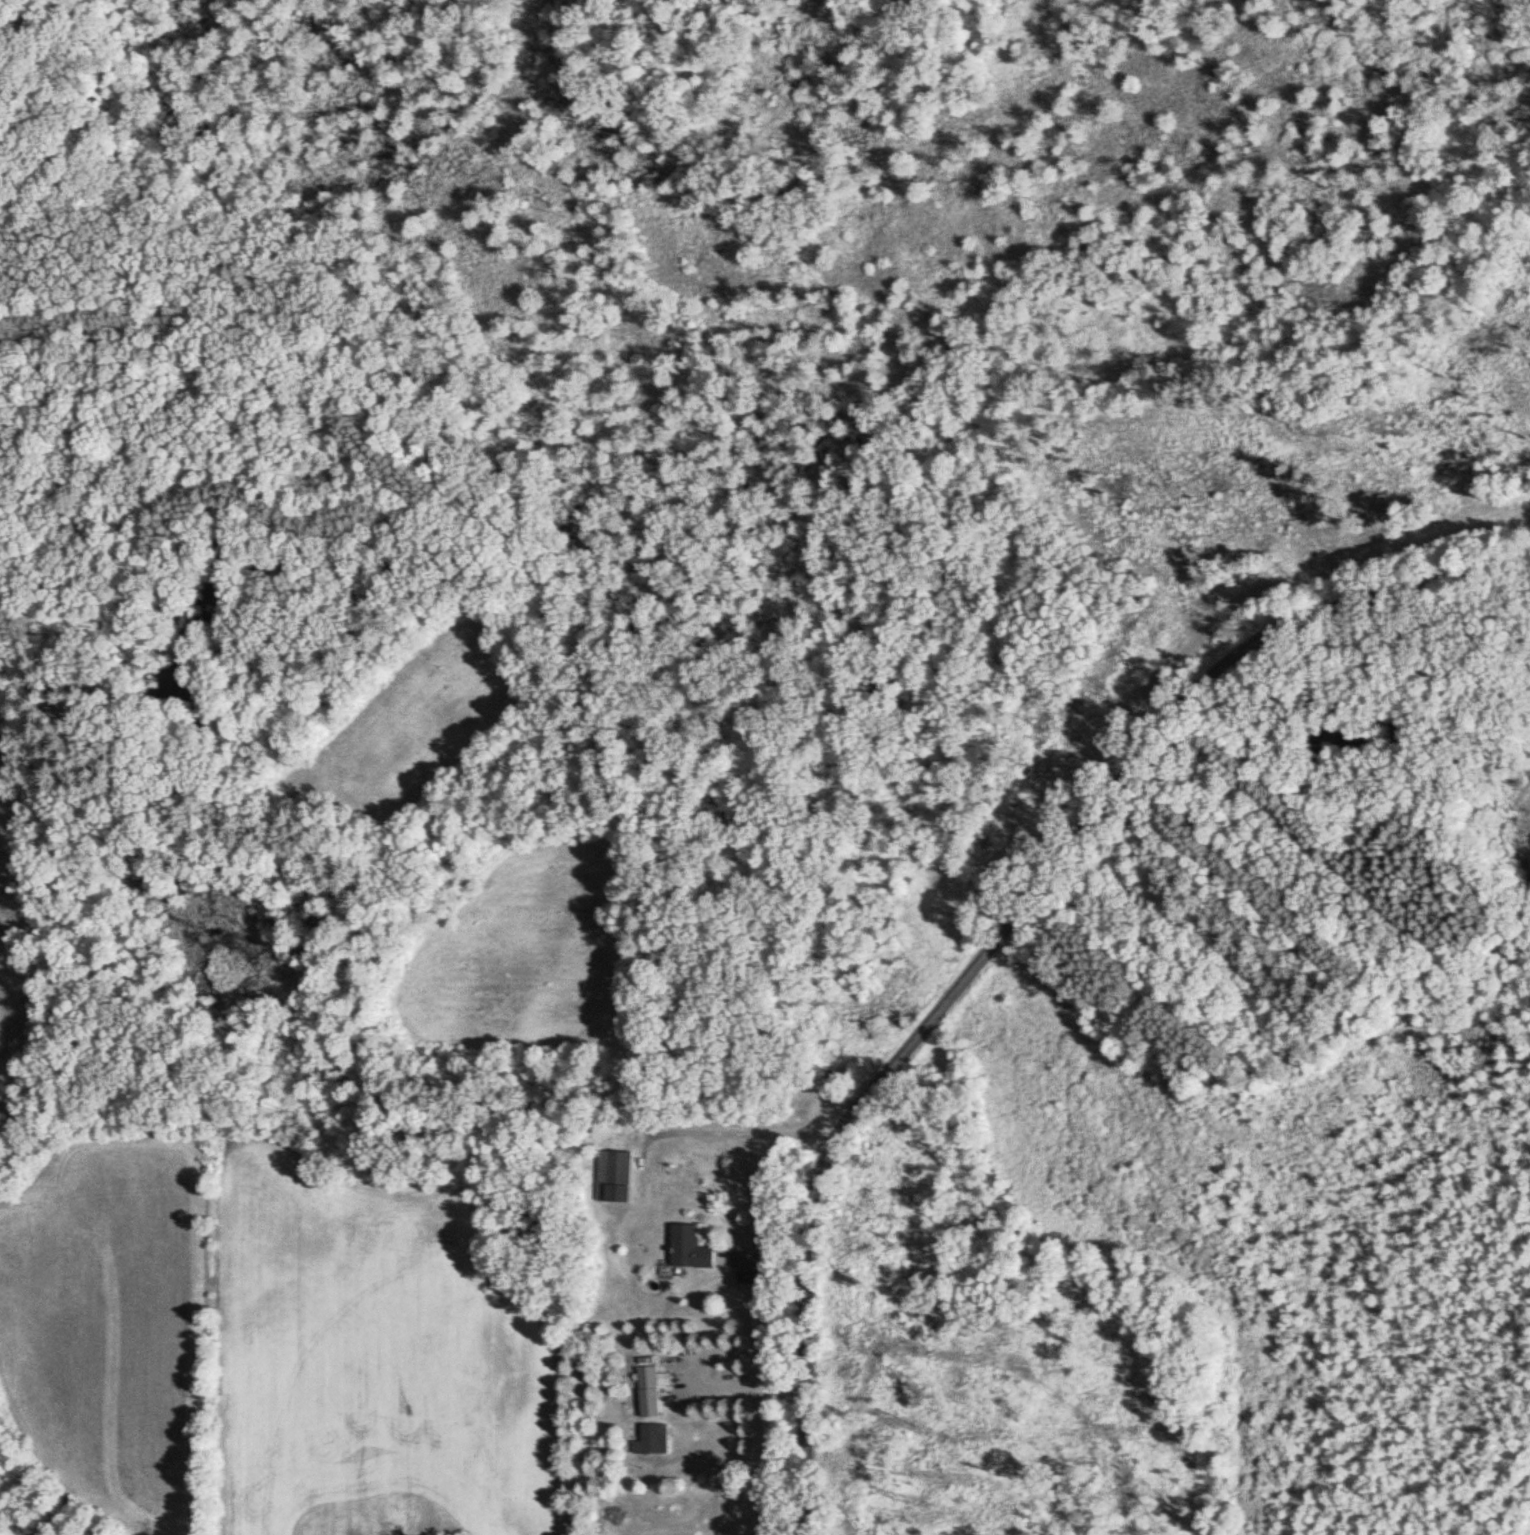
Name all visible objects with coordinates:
road: (1009, 935)
road: (735, 1135)
building: (618, 1169)
building: (688, 1249)
building: (646, 1379)
road: (744, 1386)
building: (651, 1440)

